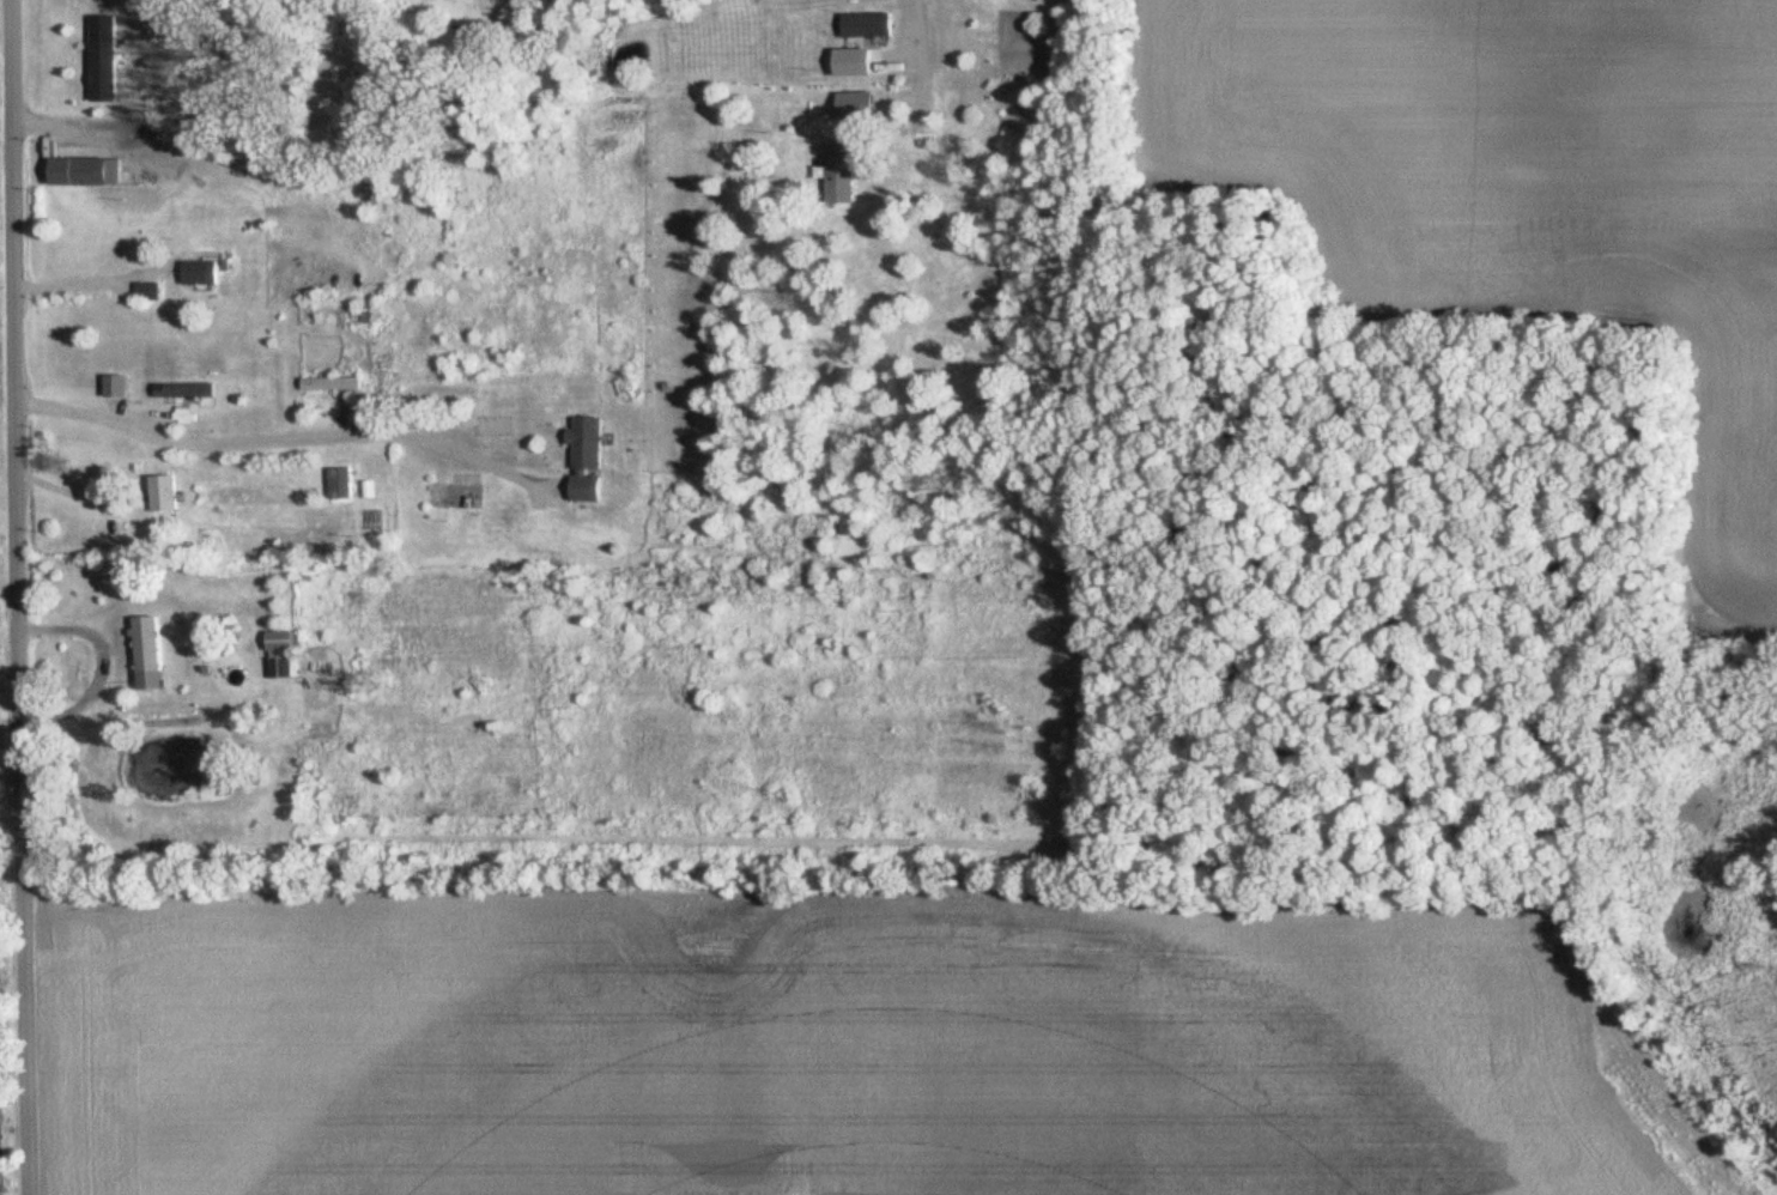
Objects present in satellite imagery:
building: (868, 25)
building: (849, 62)
road: (69, 127)
building: (841, 174)
building: (201, 274)
road: (84, 283)
building: (147, 293)
building: (372, 316)
building: (333, 386)
building: (188, 392)
building: (497, 427)
road: (281, 437)
building: (587, 460)
building: (165, 495)
road: (77, 496)
building: (456, 497)
road: (940, 596)
road: (18, 597)
building: (152, 645)
building: (283, 656)
road: (97, 662)
building: (154, 844)

